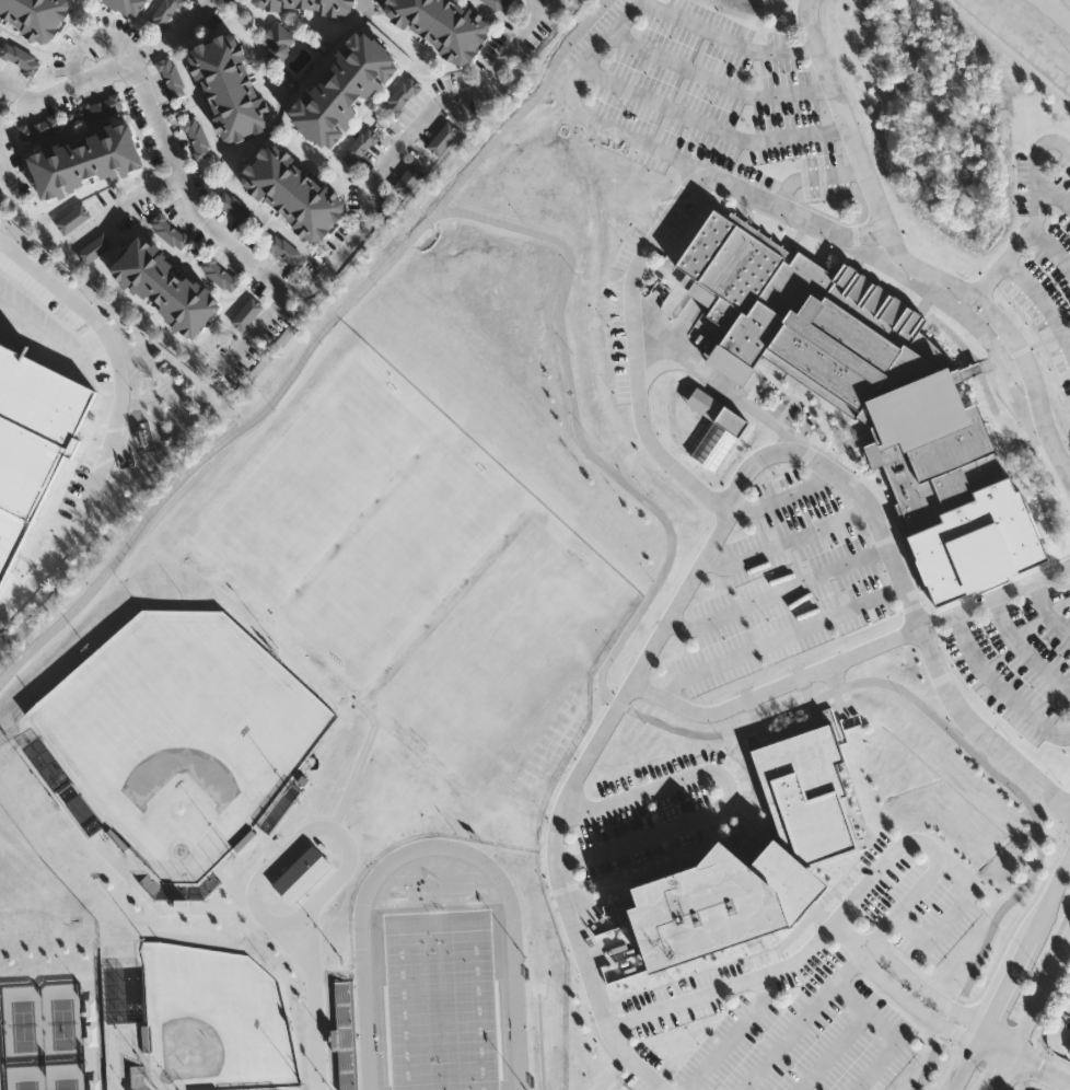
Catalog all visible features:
road: (548, 0)
building: (125, 5)
building: (305, 5)
building: (501, 5)
road: (1063, 5)
road: (1057, 10)
building: (166, 15)
building: (35, 16)
building: (441, 25)
road: (610, 33)
road: (91, 39)
road: (1016, 44)
building: (22, 60)
road: (112, 68)
building: (174, 80)
road: (718, 83)
building: (229, 89)
building: (344, 89)
road: (2, 91)
road: (709, 127)
building: (447, 136)
building: (200, 140)
building: (85, 162)
road: (1034, 167)
road: (8, 175)
road: (813, 178)
building: (410, 182)
building: (292, 194)
road: (1052, 197)
road: (124, 206)
building: (237, 210)
road: (796, 214)
building: (74, 221)
building: (172, 234)
road: (1050, 251)
building: (95, 252)
building: (288, 254)
road: (337, 258)
road: (1001, 263)
road: (902, 264)
building: (222, 276)
building: (165, 288)
road: (1040, 303)
parking lot: (61, 316)
building: (248, 316)
road: (257, 332)
road: (630, 348)
road: (305, 356)
road: (728, 390)
building: (870, 399)
road: (116, 421)
building: (718, 432)
building: (33, 441)
parking lot: (75, 491)
road: (780, 498)
road: (784, 542)
road: (776, 592)
road: (1043, 613)
road: (780, 639)
road: (1022, 652)
road: (851, 654)
road: (648, 656)
road: (998, 686)
road: (977, 728)
road: (679, 729)
park: (182, 734)
road: (728, 798)
road: (310, 833)
road: (893, 851)
building: (753, 861)
building: (305, 877)
road: (919, 889)
road: (966, 903)
road: (911, 934)
road: (879, 935)
track: (439, 973)
road: (1015, 975)
road: (745, 978)
road: (905, 985)
road: (853, 994)
park: (442, 999)
road: (315, 1007)
road: (1036, 1017)
road: (802, 1020)
park: (214, 1023)
road: (733, 1035)
road: (892, 1047)
road: (831, 1048)
building: (1069, 1050)
building: (1069, 1052)
road: (1024, 1060)

